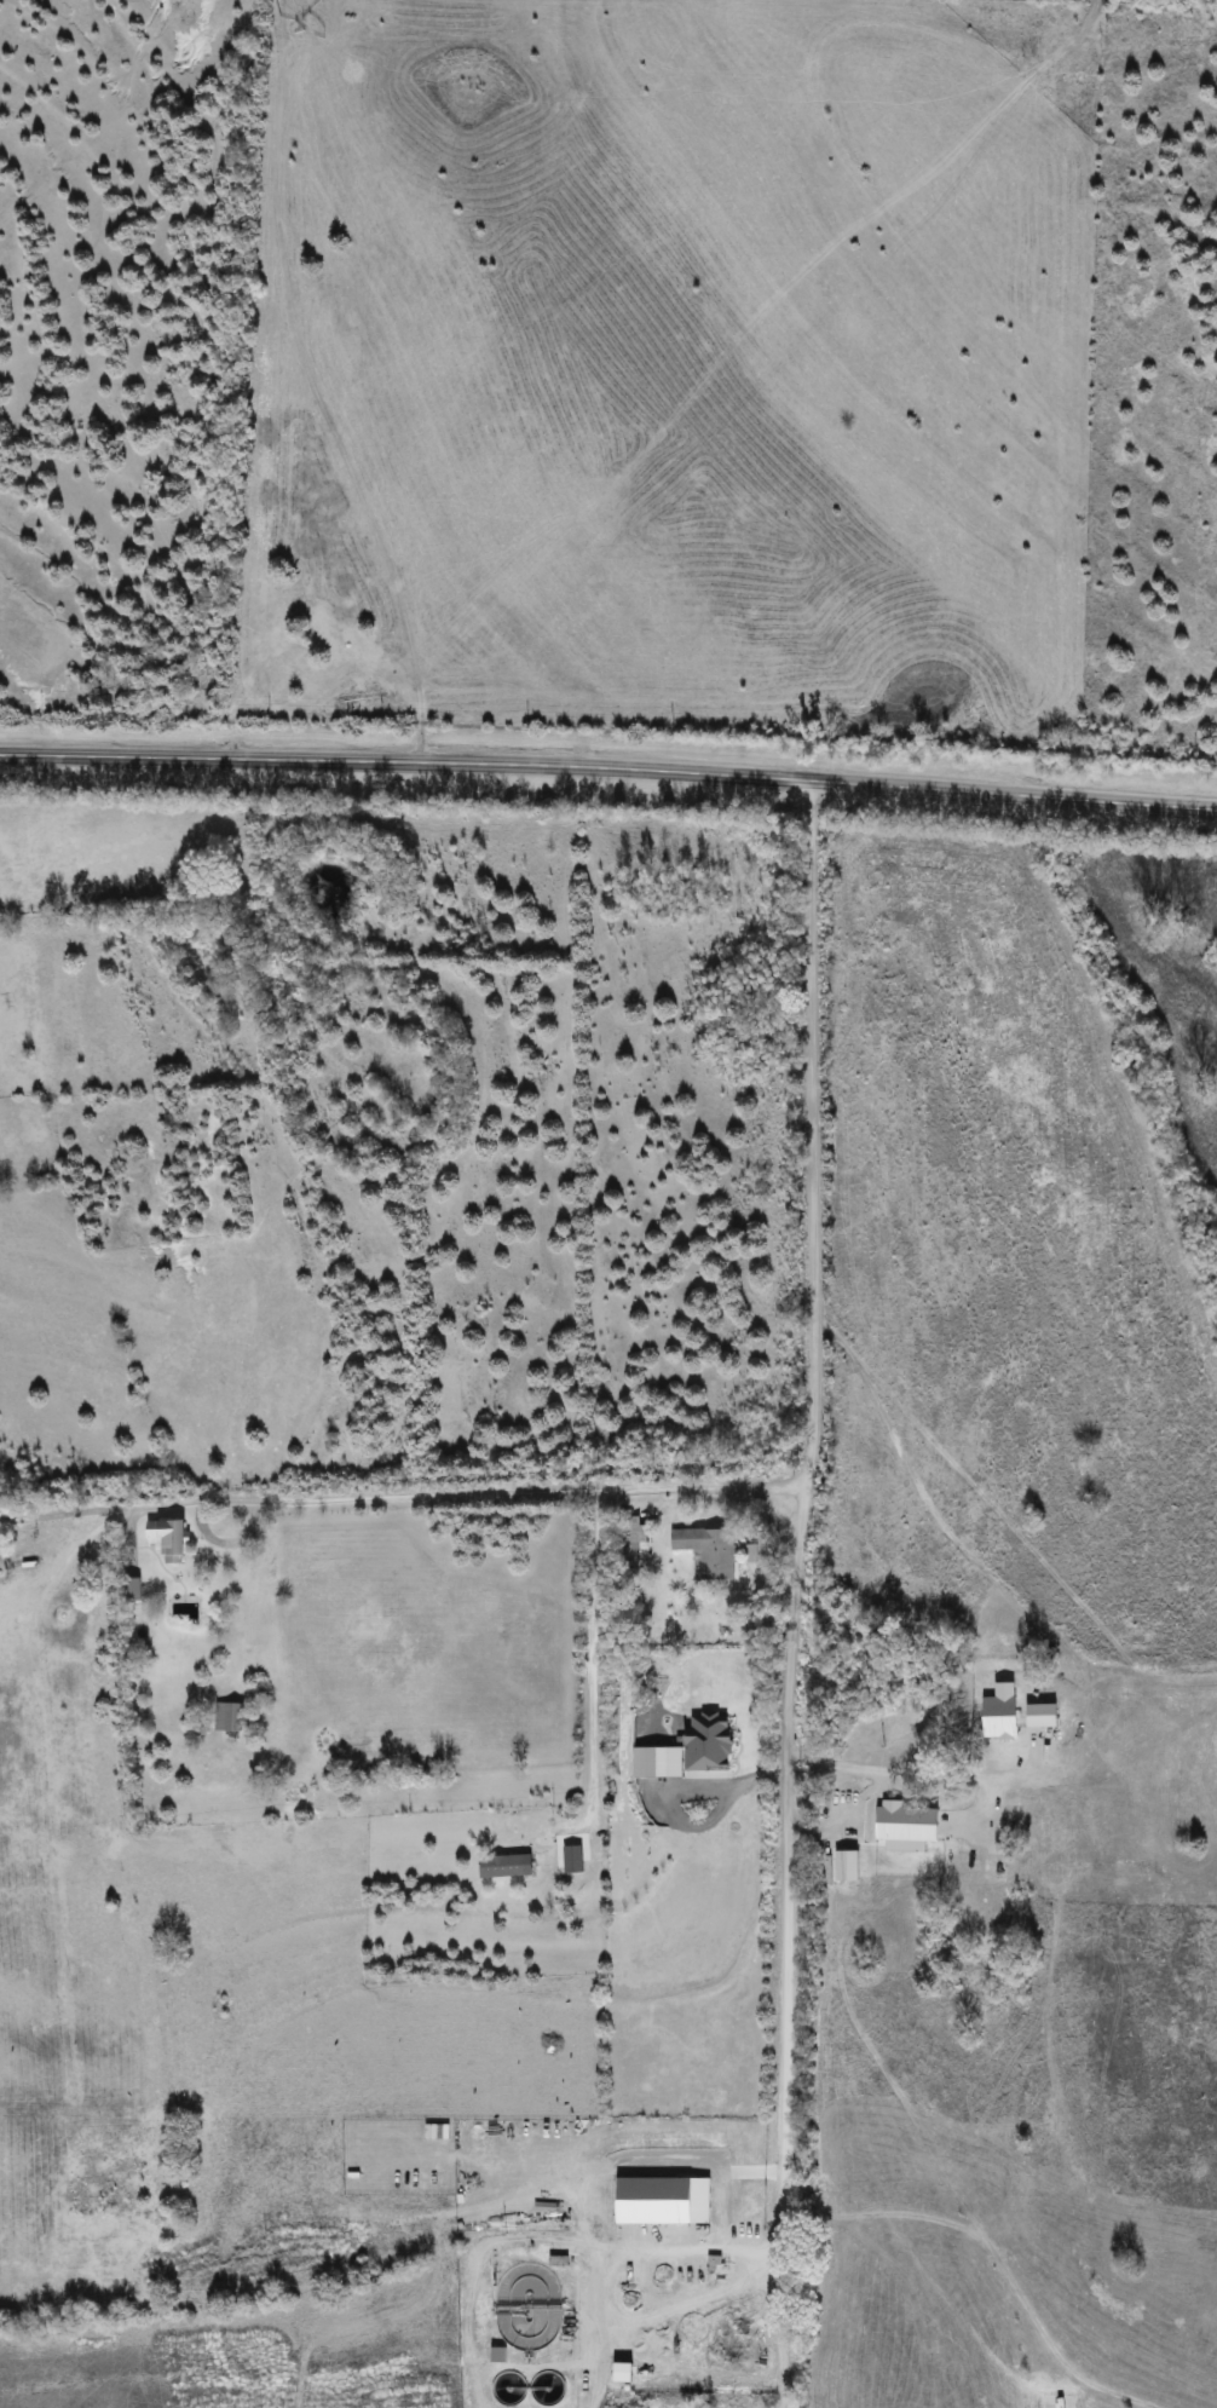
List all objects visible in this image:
road: (608, 764)
road: (456, 1493)
road: (53, 1514)
building: (171, 1538)
building: (1, 1540)
building: (709, 1551)
road: (795, 1574)
building: (134, 1589)
road: (592, 1655)
building: (229, 1716)
road: (912, 1770)
building: (544, 1857)
building: (502, 1865)
road: (582, 2315)
building: (523, 2329)

